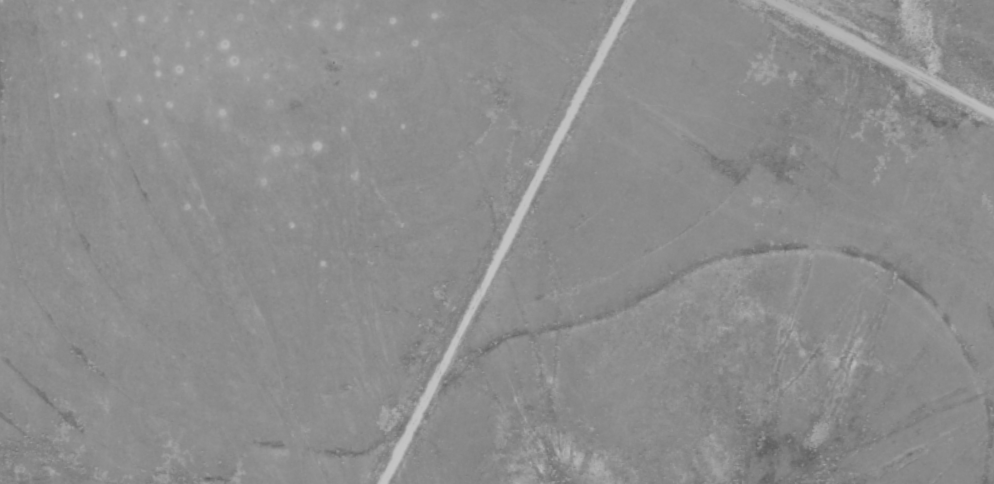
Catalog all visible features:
road: (890, 52)

